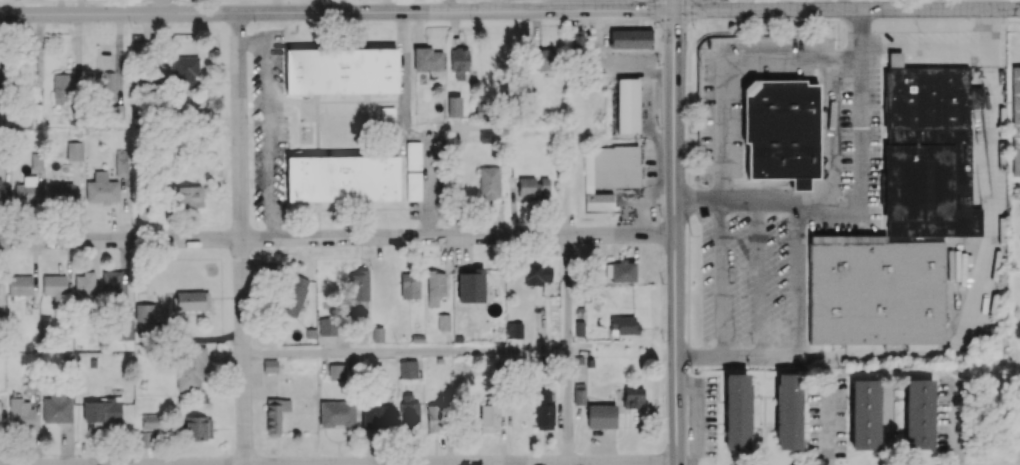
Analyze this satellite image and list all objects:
road: (63, 0)
road: (4, 1)
road: (14, 1)
road: (676, 5)
road: (786, 5)
road: (564, 6)
road: (163, 7)
road: (847, 10)
traffic signals: (676, 11)
road: (337, 13)
building: (630, 38)
building: (576, 46)
building: (543, 58)
building: (427, 59)
building: (461, 64)
road: (731, 66)
building: (184, 70)
building: (341, 70)
building: (31, 71)
building: (3, 72)
building: (108, 86)
building: (63, 88)
building: (627, 105)
building: (454, 106)
building: (2, 115)
building: (387, 117)
building: (1015, 121)
road: (265, 130)
building: (780, 130)
road: (408, 134)
building: (75, 150)
building: (928, 150)
building: (413, 155)
building: (37, 162)
building: (121, 162)
building: (613, 166)
building: (342, 178)
building: (489, 182)
road: (656, 183)
road: (567, 185)
building: (414, 186)
building: (533, 187)
building: (102, 189)
building: (1, 190)
building: (61, 191)
building: (26, 193)
building: (188, 196)
building: (599, 201)
road: (863, 205)
road: (677, 238)
road: (242, 239)
road: (338, 241)
road: (987, 260)
building: (620, 271)
building: (537, 274)
building: (111, 282)
building: (20, 284)
building: (409, 284)
building: (85, 285)
building: (359, 285)
building: (470, 285)
building: (55, 286)
building: (435, 287)
building: (875, 290)
road: (568, 294)
building: (293, 295)
building: (192, 300)
building: (144, 318)
building: (443, 322)
building: (326, 326)
building: (123, 330)
building: (514, 330)
building: (378, 334)
road: (406, 352)
road: (739, 357)
building: (270, 365)
building: (408, 369)
building: (191, 370)
building: (337, 372)
building: (579, 393)
building: (634, 397)
building: (57, 406)
road: (568, 406)
building: (0, 408)
building: (544, 408)
building: (103, 410)
building: (737, 411)
building: (788, 411)
building: (21, 412)
building: (918, 413)
building: (275, 414)
building: (337, 414)
building: (410, 414)
building: (865, 414)
building: (378, 415)
building: (488, 416)
building: (601, 416)
building: (436, 418)
building: (151, 421)
building: (199, 426)
road: (339, 463)

